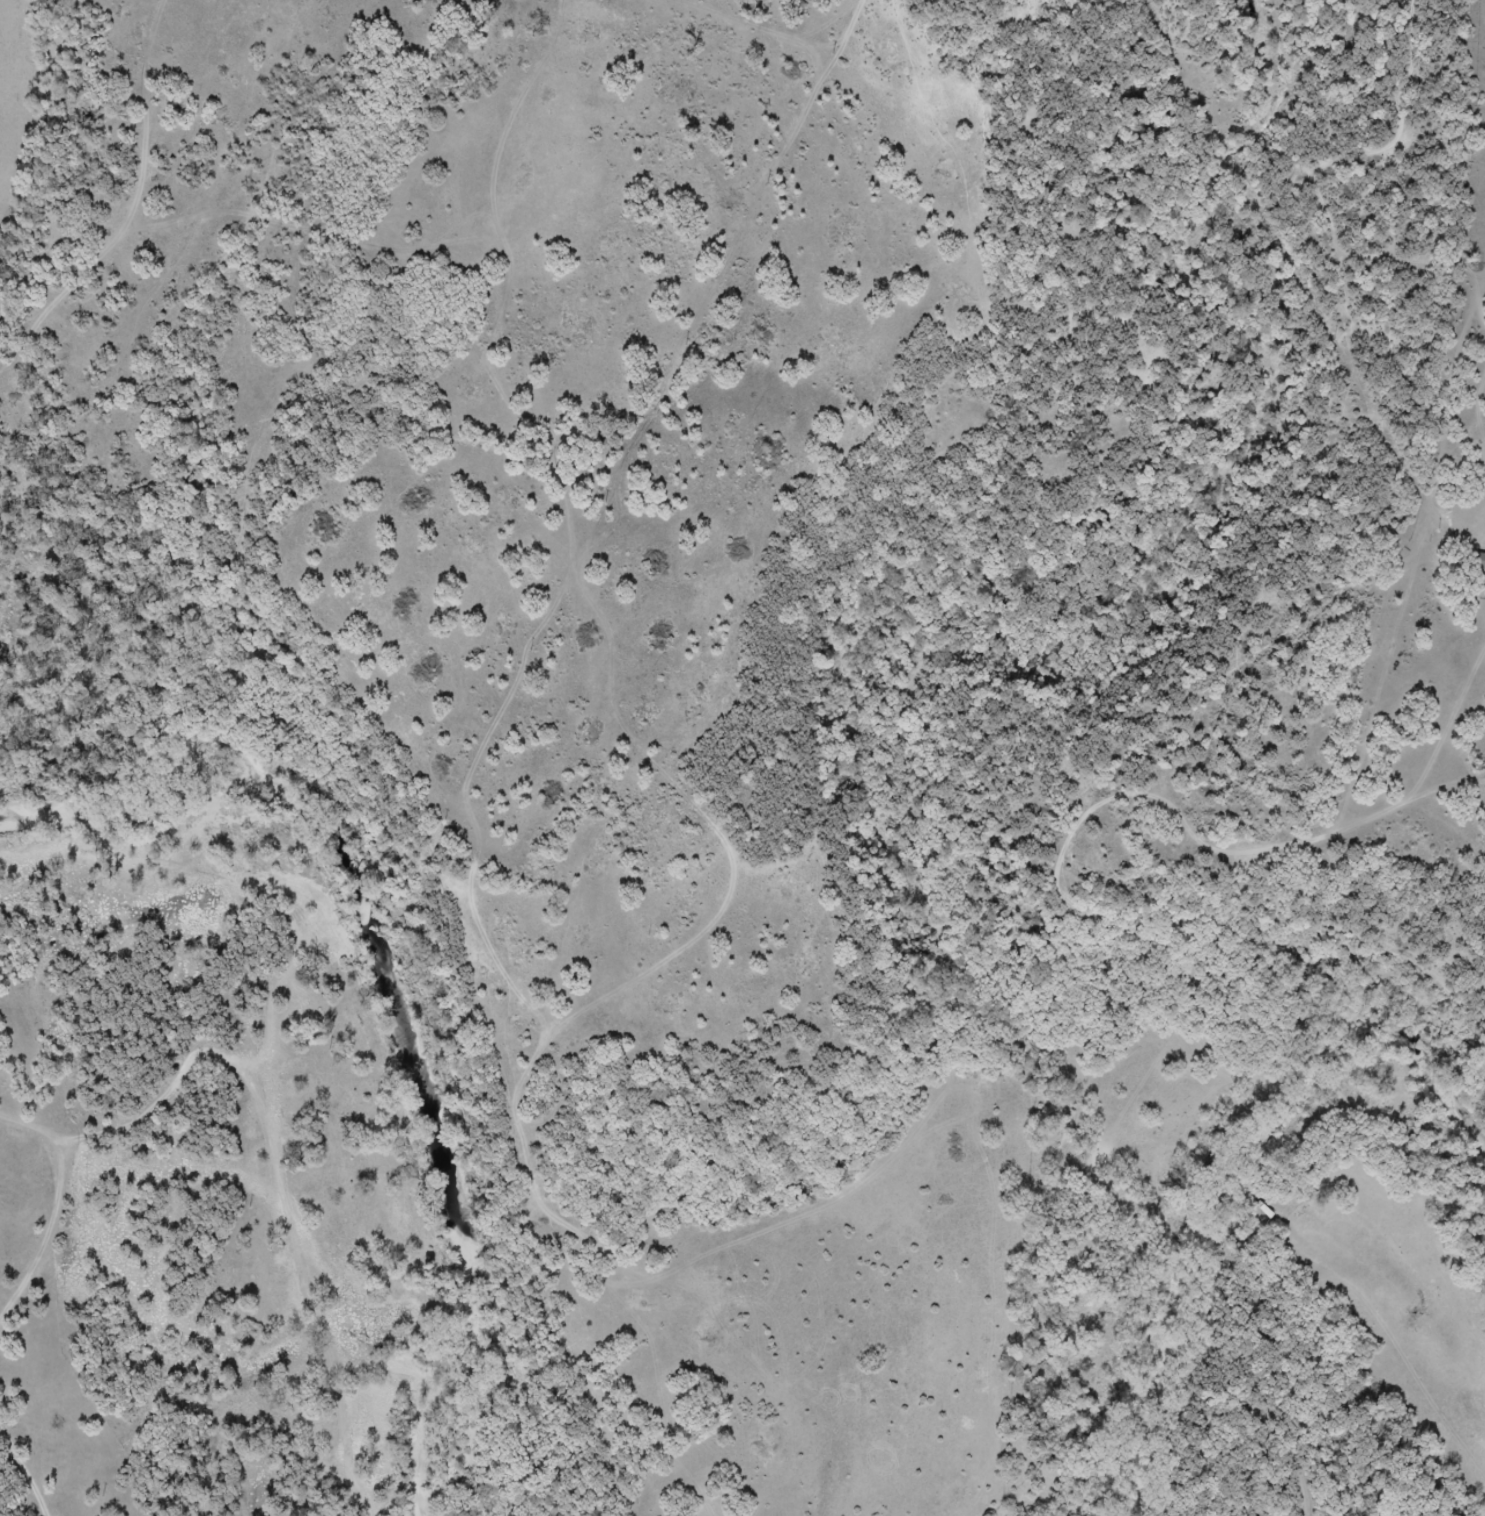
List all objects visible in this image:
building: (1479, 561)
road: (1260, 850)

